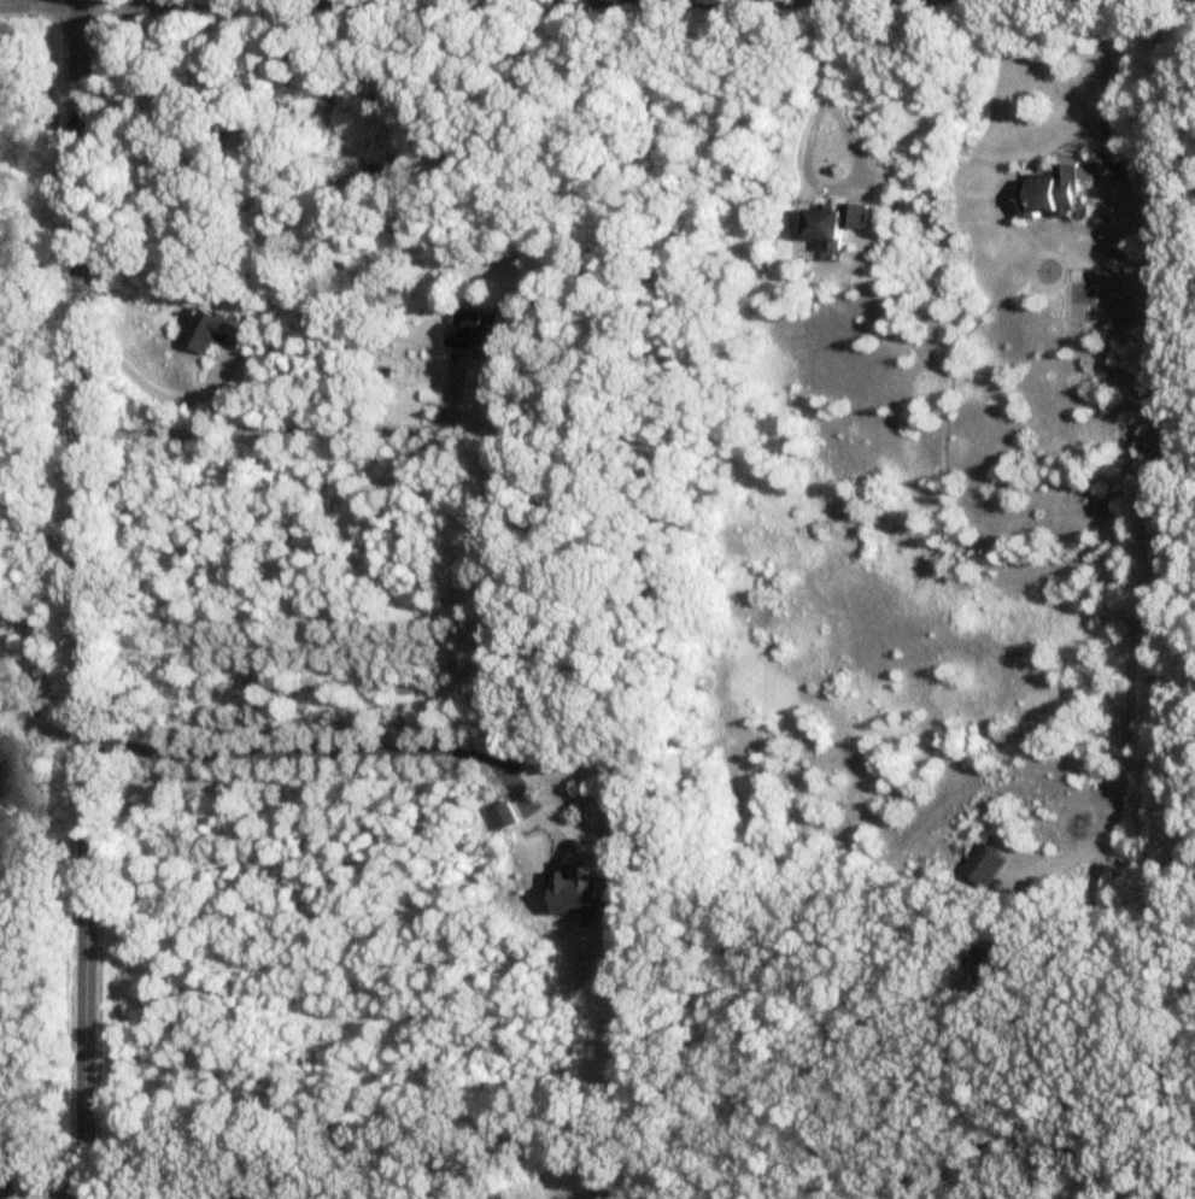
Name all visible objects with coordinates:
road: (336, 5)
road: (820, 71)
road: (1106, 83)
building: (1052, 195)
building: (832, 227)
building: (213, 333)
building: (479, 336)
road: (156, 393)
road: (1160, 429)
road: (298, 430)
road: (83, 599)
road: (330, 751)
building: (983, 864)
road: (1020, 946)
building: (989, 965)
road: (978, 1145)
road: (10, 1180)
road: (54, 1183)
road: (13, 1189)

